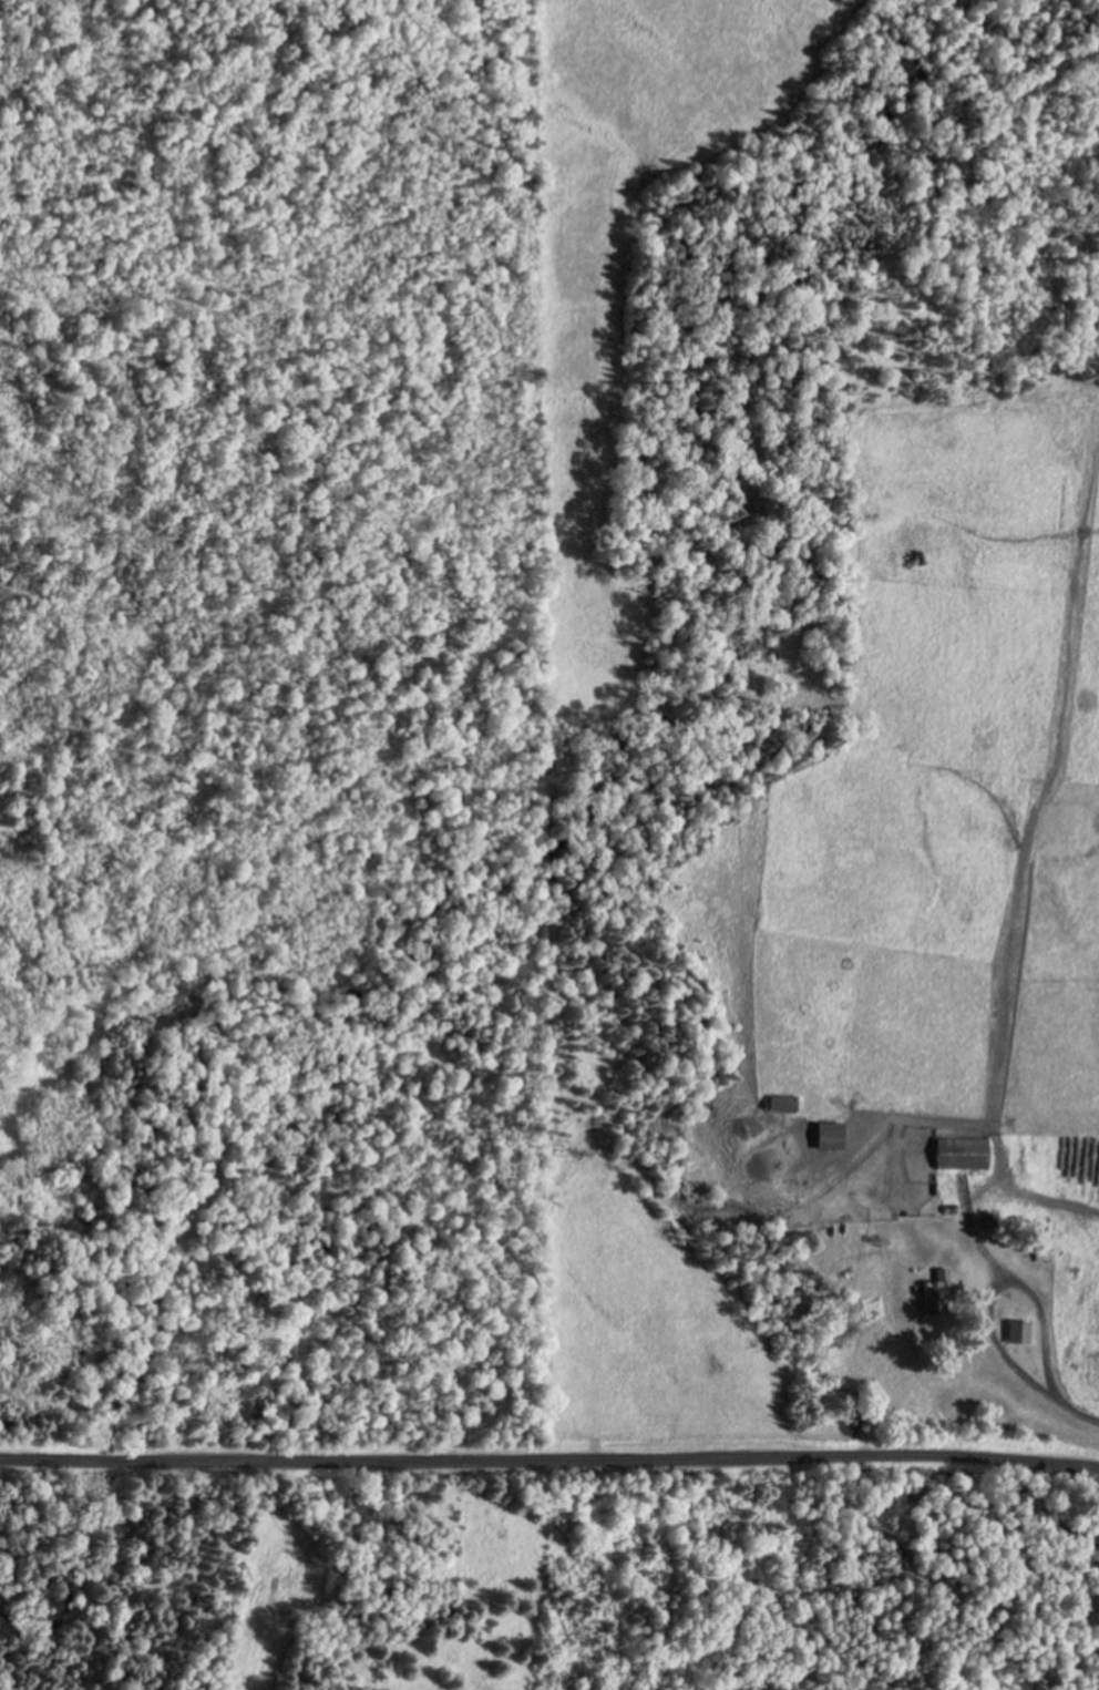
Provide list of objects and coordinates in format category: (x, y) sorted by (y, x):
building: (785, 1106)
building: (832, 1137)
building: (964, 1155)
building: (1044, 1257)
building: (937, 1295)
building: (1020, 1333)
road: (548, 1468)

